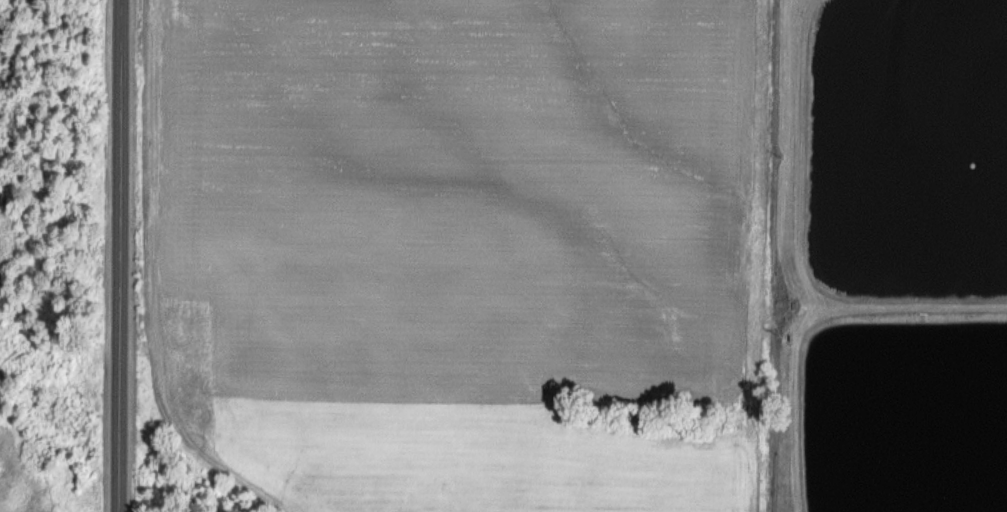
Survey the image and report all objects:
road: (119, 255)

